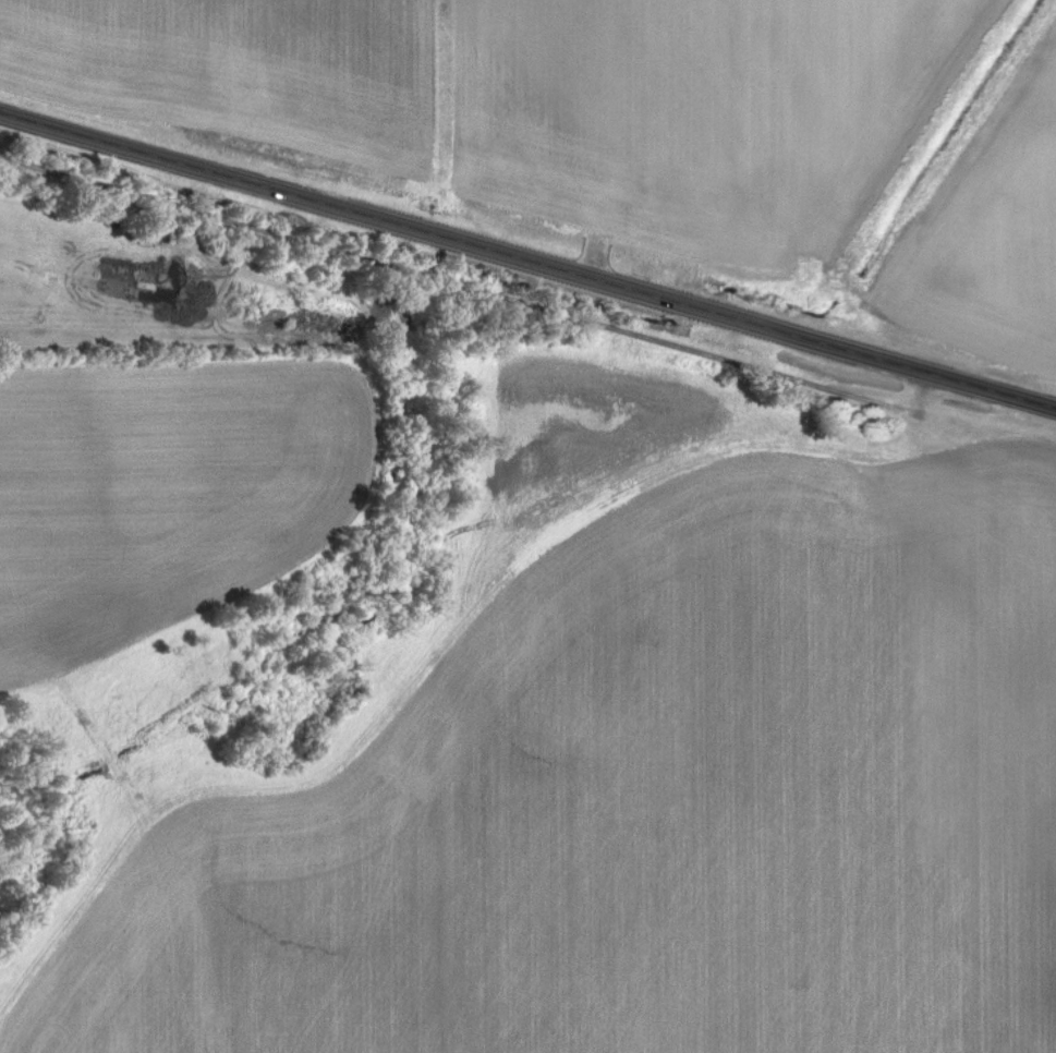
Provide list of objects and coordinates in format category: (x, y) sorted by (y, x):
road: (527, 261)

